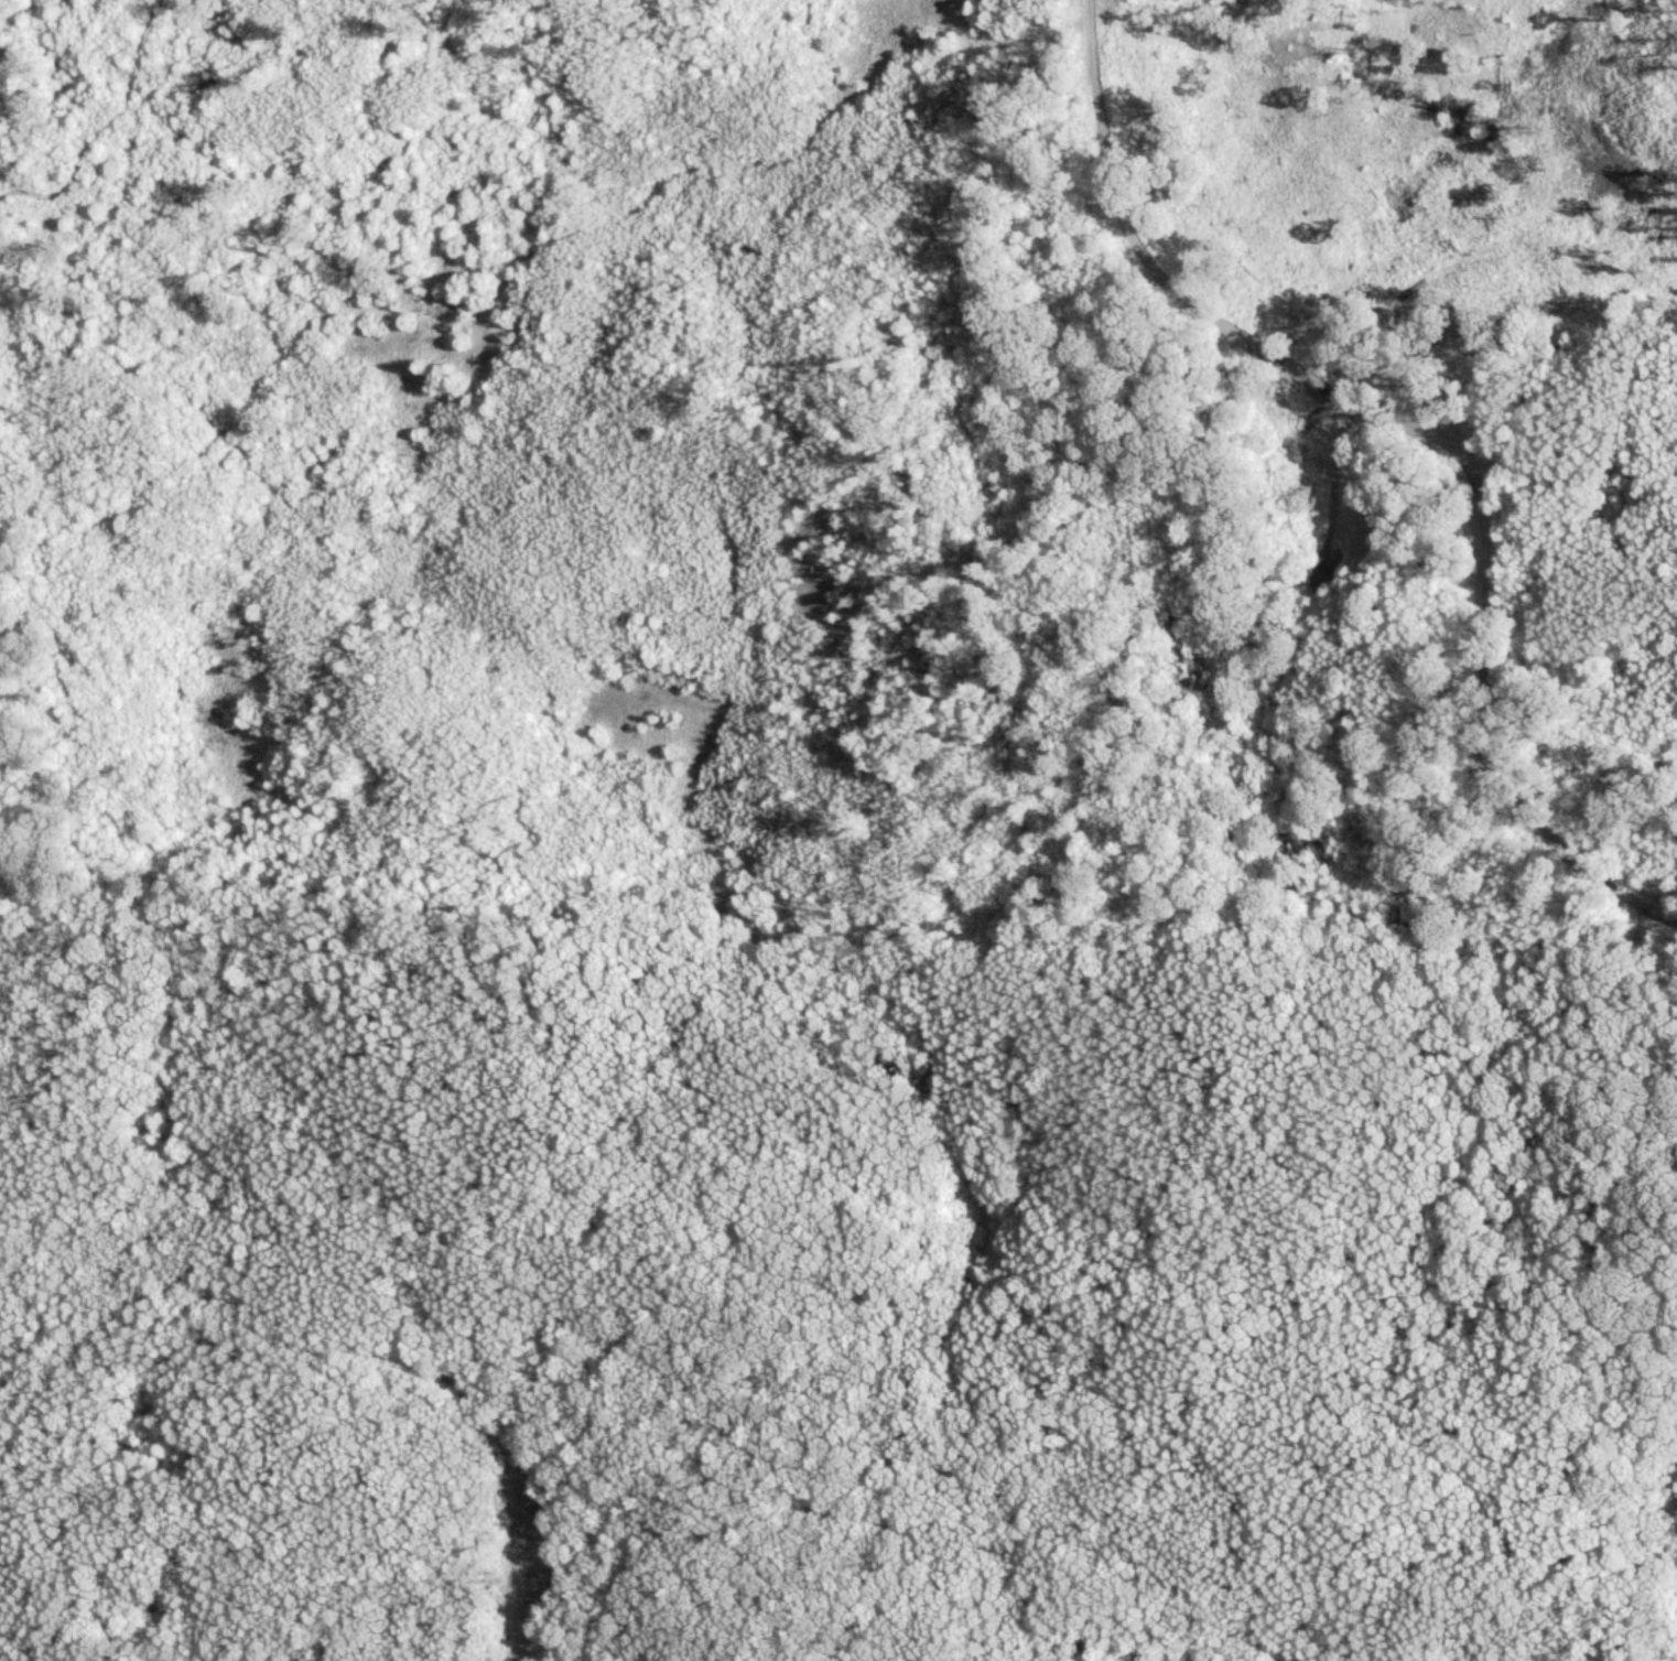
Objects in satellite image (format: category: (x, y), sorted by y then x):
road: (134, 356)
road: (1429, 432)
road: (1269, 1566)

